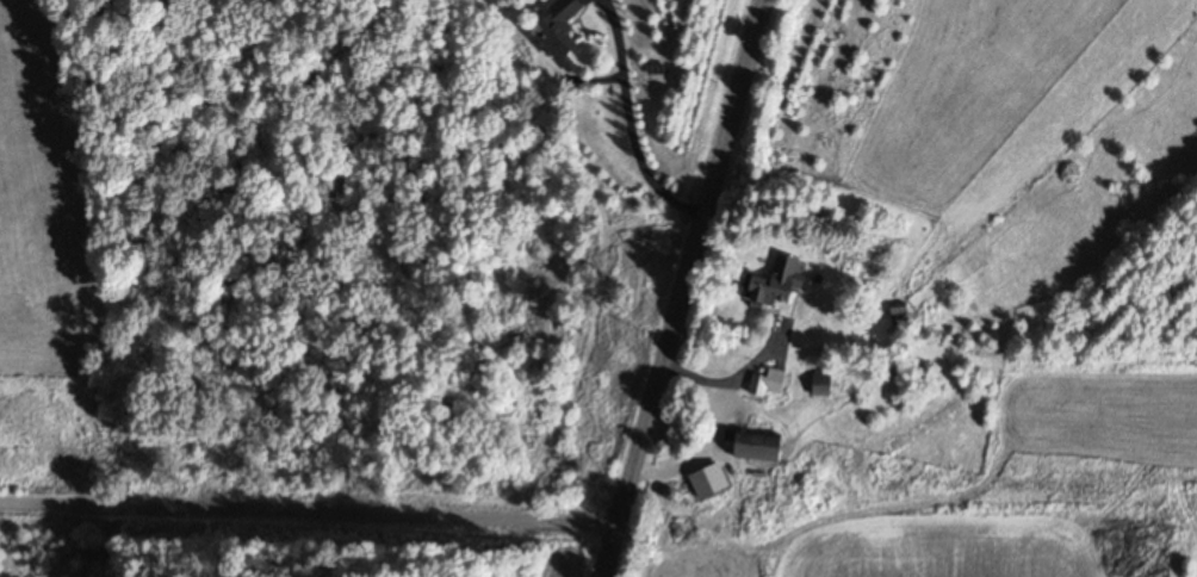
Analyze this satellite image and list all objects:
building: (557, 31)
building: (774, 284)
road: (678, 288)
building: (899, 315)
building: (767, 384)
building: (821, 385)
building: (756, 447)
road: (309, 526)

